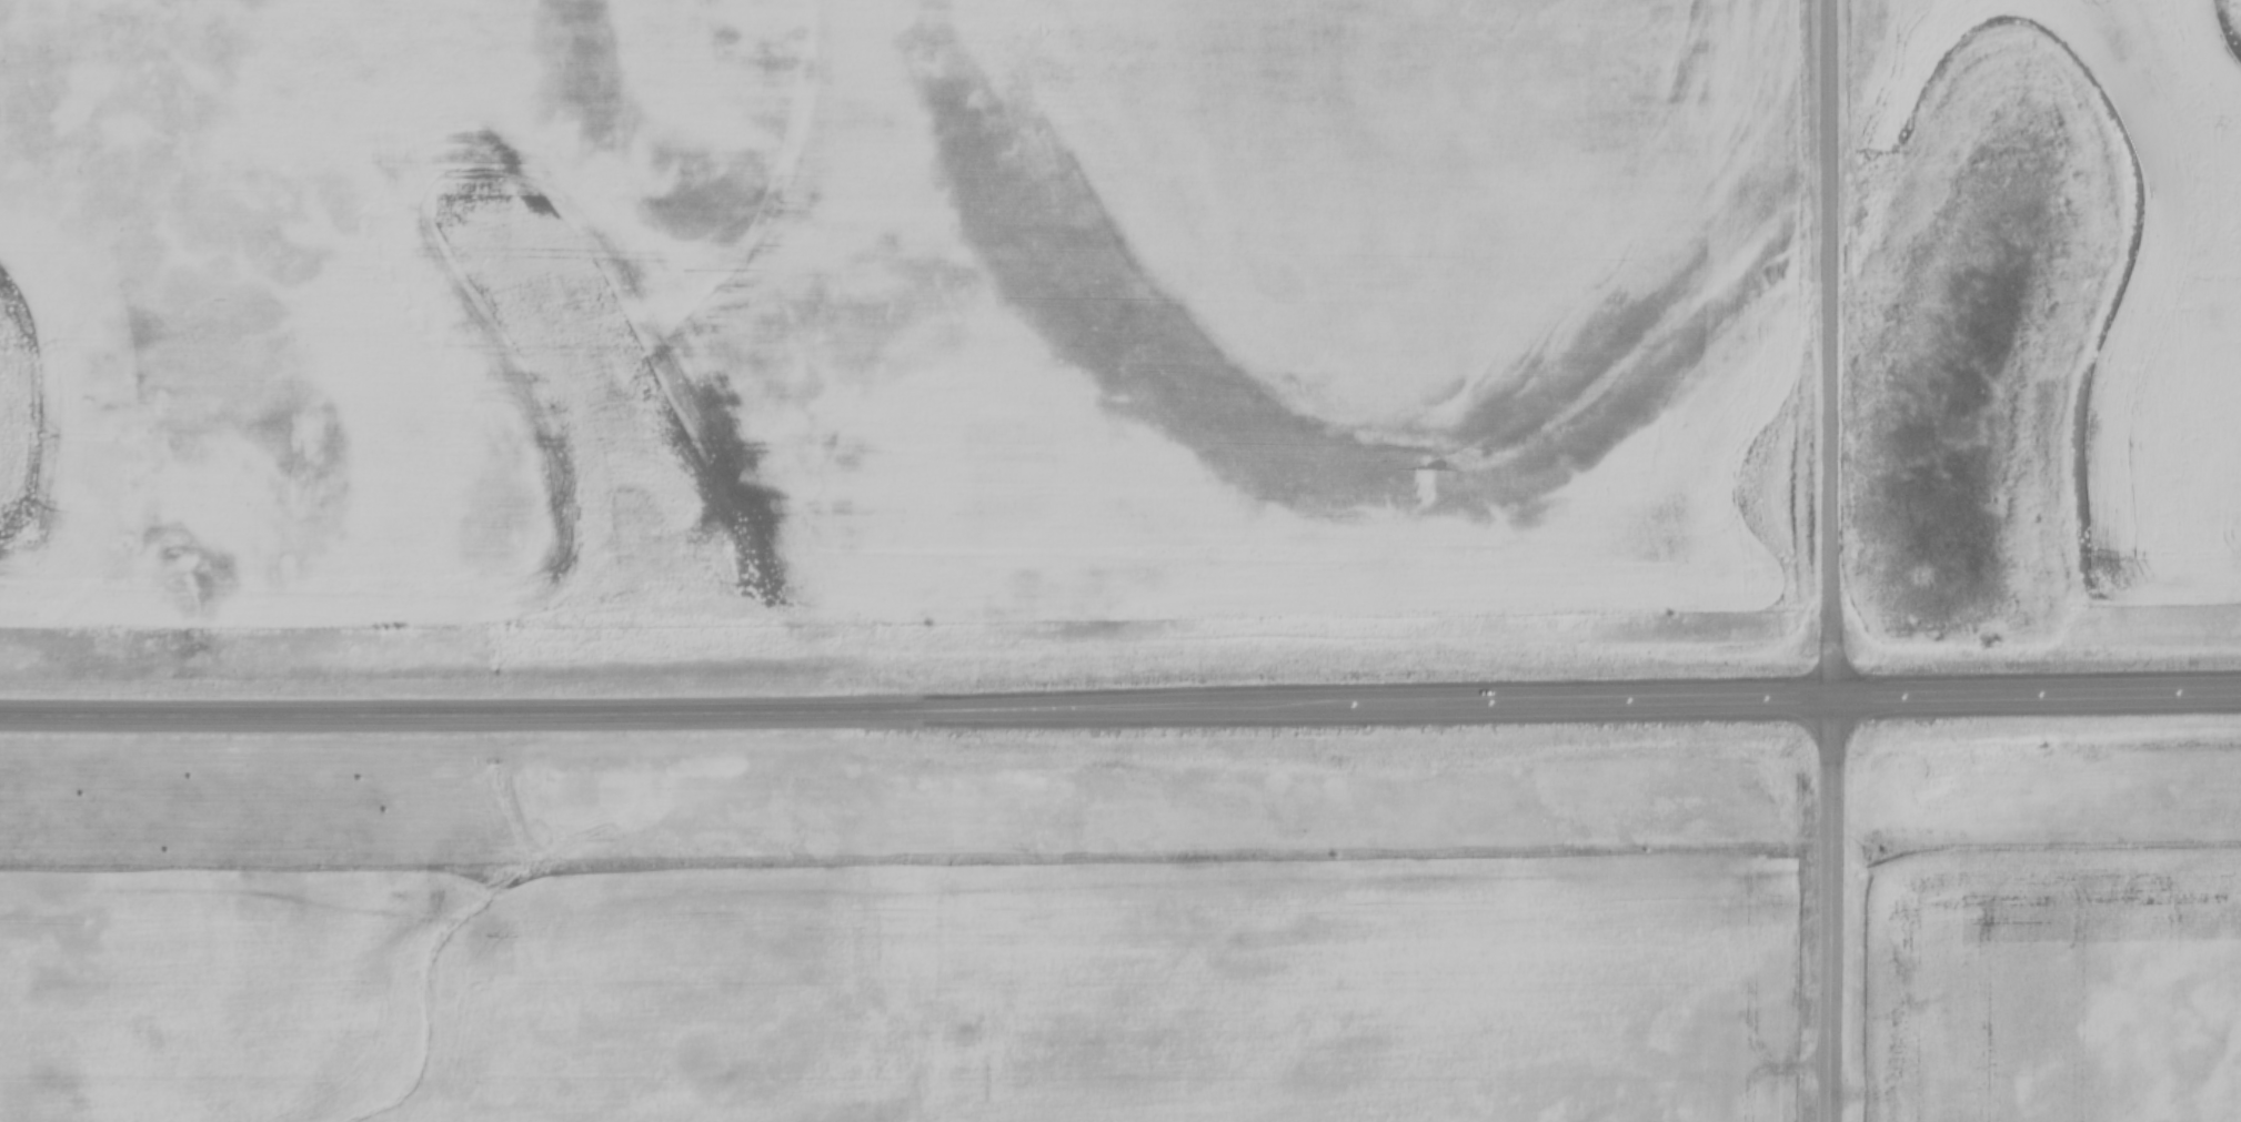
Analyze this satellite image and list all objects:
crop: (2101, 255)
crop: (892, 303)
road: (1827, 346)
road: (1120, 704)
road: (1829, 908)

